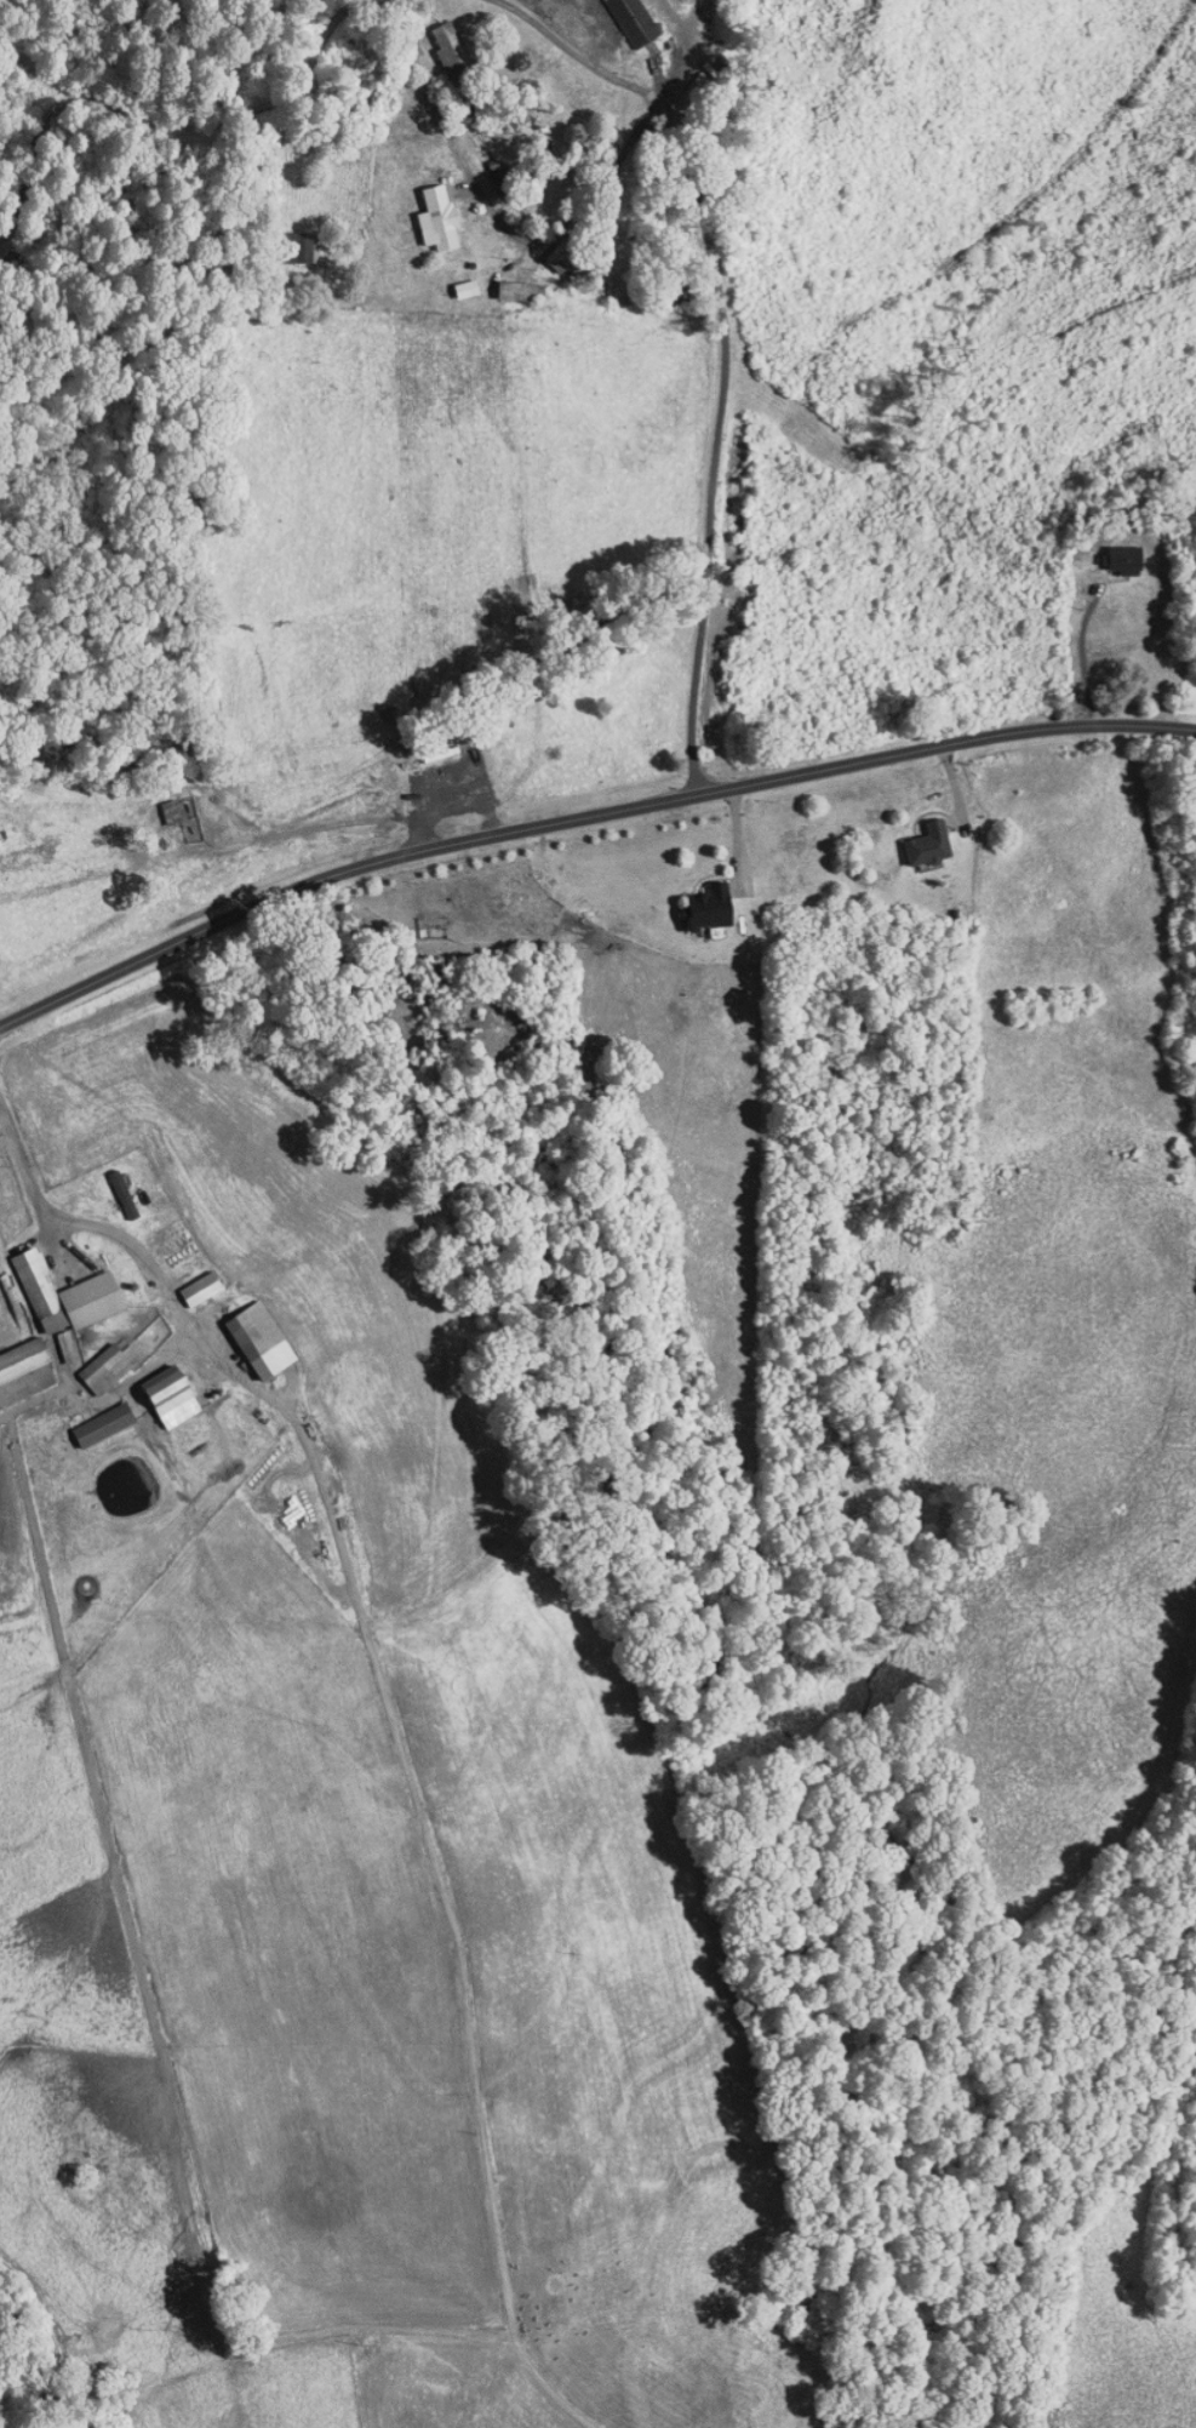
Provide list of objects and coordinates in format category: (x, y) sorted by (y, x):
building: (633, 21)
building: (451, 47)
building: (439, 218)
road: (553, 232)
building: (309, 247)
building: (566, 256)
building: (467, 287)
building: (516, 290)
road: (720, 348)
building: (1125, 559)
road: (1082, 658)
building: (171, 811)
road: (583, 817)
building: (929, 845)
building: (710, 908)
building: (124, 1193)
road: (85, 1222)
building: (201, 1286)
building: (65, 1292)
building: (259, 1338)
building: (67, 1344)
building: (23, 1358)
building: (105, 1367)
building: (171, 1394)
building: (103, 1423)

